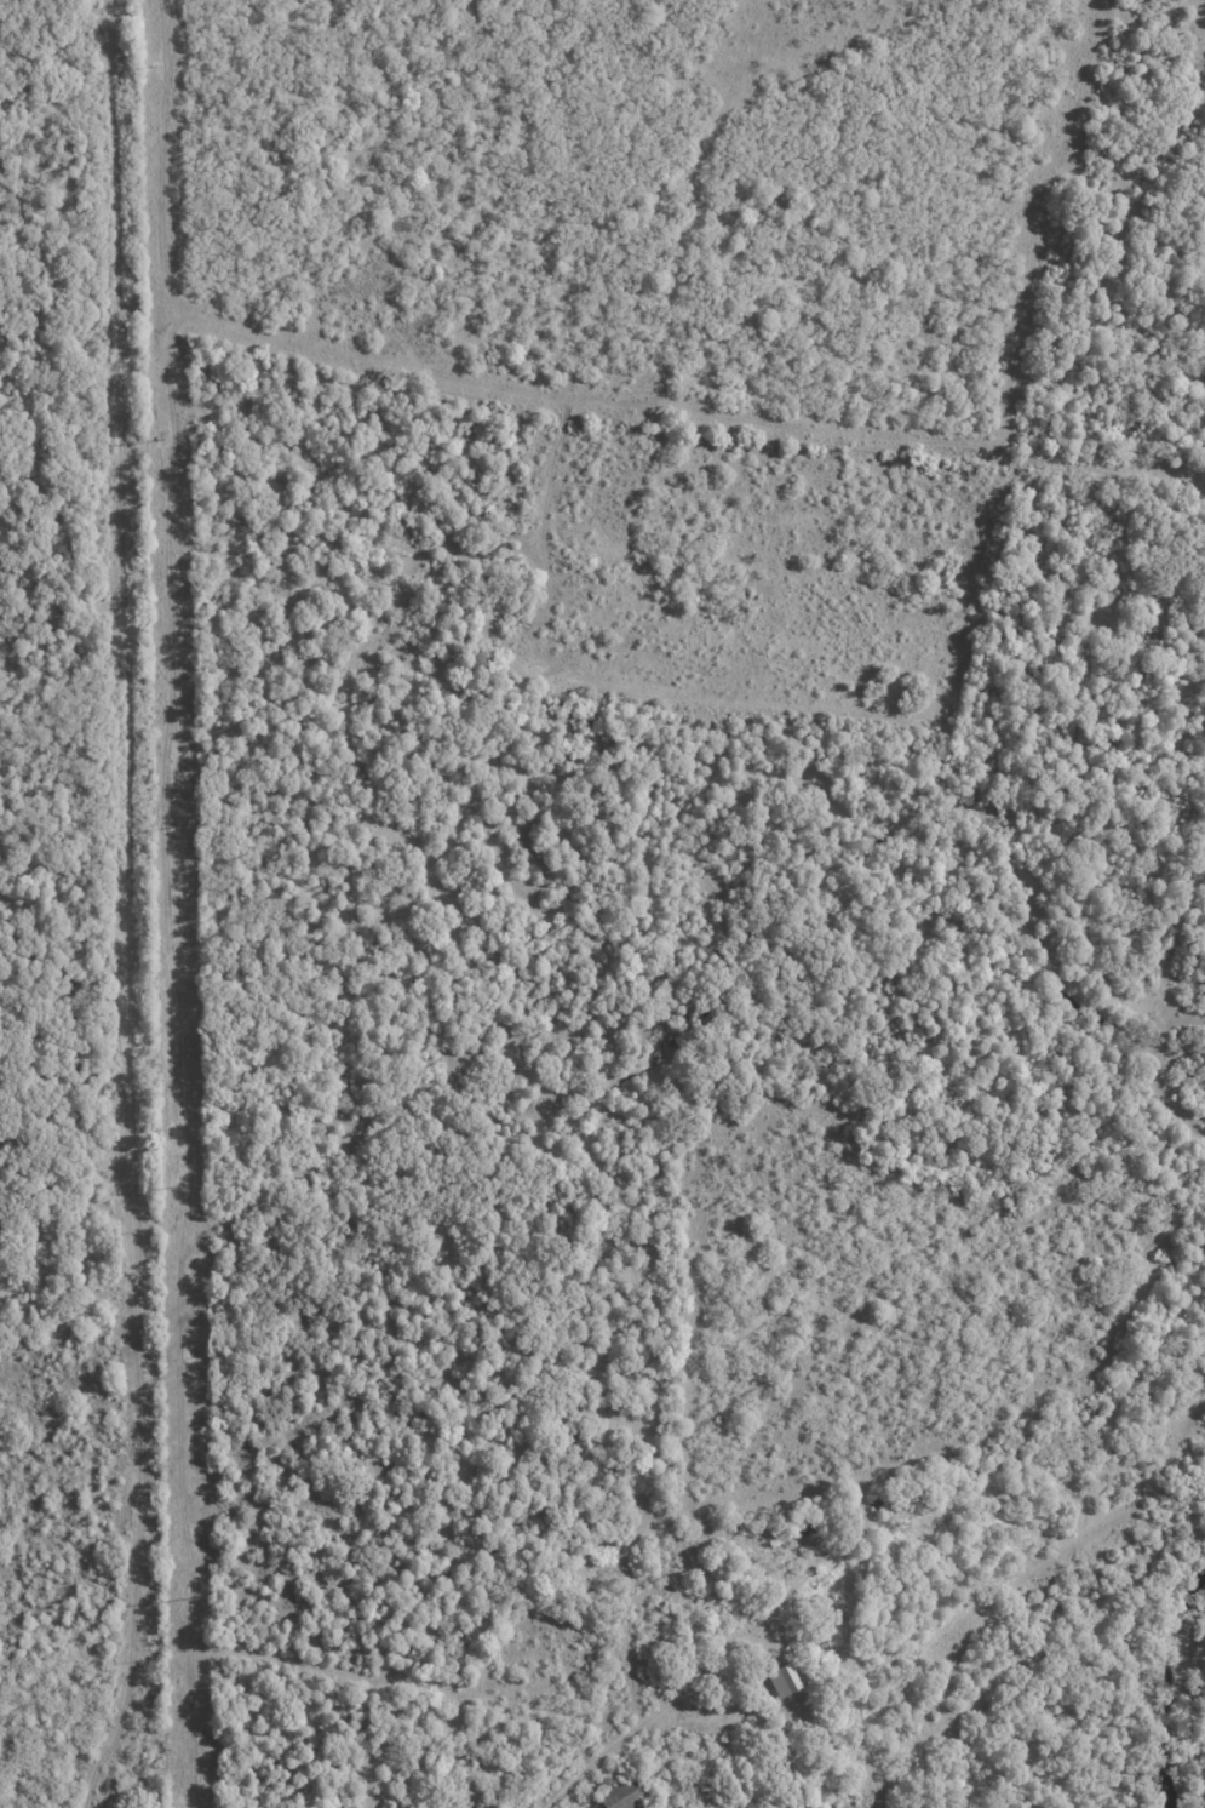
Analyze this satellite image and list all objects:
building: (584, 1437)
building: (776, 1658)
building: (787, 1678)
road: (587, 1764)
building: (797, 1783)
building: (629, 1795)

